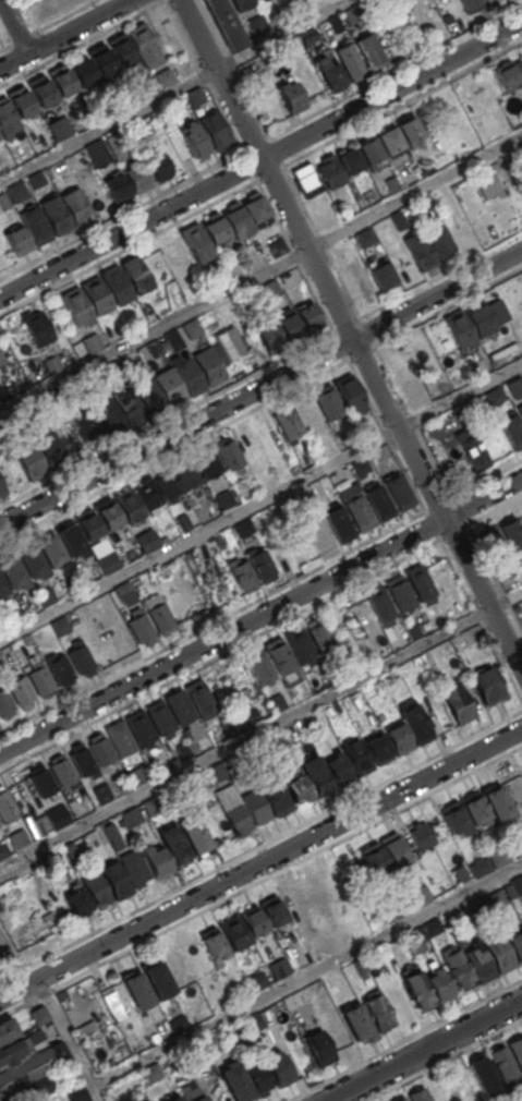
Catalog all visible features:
road: (123, 1)
building: (489, 1)
building: (468, 2)
building: (242, 3)
building: (56, 9)
building: (350, 13)
building: (333, 23)
building: (227, 24)
building: (257, 24)
road: (13, 26)
road: (64, 34)
building: (312, 40)
building: (144, 44)
building: (121, 49)
building: (368, 49)
building: (101, 59)
building: (348, 59)
building: (82, 70)
building: (507, 74)
building: (331, 76)
building: (165, 77)
building: (61, 80)
building: (142, 89)
building: (40, 92)
road: (173, 92)
building: (290, 94)
building: (194, 96)
building: (20, 101)
road: (327, 106)
building: (7, 117)
building: (135, 126)
building: (60, 128)
building: (216, 130)
building: (409, 130)
building: (0, 135)
building: (194, 138)
building: (389, 140)
building: (119, 144)
building: (97, 152)
building: (372, 153)
road: (260, 159)
building: (349, 160)
building: (157, 167)
building: (330, 172)
building: (37, 179)
building: (137, 179)
building: (305, 179)
building: (391, 183)
building: (117, 189)
building: (17, 192)
building: (3, 202)
building: (76, 205)
building: (256, 211)
building: (56, 215)
building: (399, 220)
building: (235, 222)
building: (36, 225)
building: (214, 229)
building: (460, 230)
building: (365, 238)
building: (440, 240)
building: (17, 241)
building: (196, 242)
building: (276, 246)
building: (420, 251)
road: (260, 273)
building: (136, 275)
building: (383, 276)
building: (117, 286)
building: (269, 289)
building: (97, 294)
building: (75, 306)
building: (309, 317)
building: (479, 318)
building: (290, 326)
building: (36, 327)
building: (192, 328)
building: (460, 328)
building: (269, 335)
road: (351, 336)
building: (174, 339)
building: (92, 342)
building: (228, 343)
building: (155, 348)
building: (52, 364)
building: (207, 367)
building: (110, 370)
building: (189, 375)
building: (169, 386)
building: (515, 386)
road: (260, 388)
building: (348, 392)
building: (2, 395)
building: (417, 395)
building: (494, 396)
building: (148, 397)
building: (328, 402)
building: (129, 408)
building: (520, 411)
building: (109, 418)
building: (288, 422)
building: (90, 427)
building: (512, 429)
building: (473, 451)
building: (229, 455)
building: (31, 461)
building: (207, 461)
building: (360, 467)
building: (187, 471)
building: (167, 481)
building: (1, 488)
building: (398, 491)
building: (148, 494)
building: (300, 497)
building: (224, 498)
road: (483, 498)
road: (260, 501)
building: (378, 501)
building: (129, 505)
building: (359, 512)
building: (108, 513)
building: (183, 521)
building: (338, 522)
building: (86, 524)
building: (244, 528)
building: (319, 533)
building: (511, 533)
building: (70, 540)
building: (147, 541)
building: (221, 541)
building: (493, 542)
building: (50, 550)
building: (31, 561)
building: (107, 561)
building: (262, 565)
building: (521, 566)
building: (11, 572)
building: (88, 574)
building: (244, 574)
building: (420, 583)
building: (2, 586)
building: (125, 593)
building: (399, 593)
building: (46, 596)
building: (379, 604)
building: (158, 613)
building: (359, 614)
building: (60, 625)
building: (141, 627)
building: (414, 630)
building: (319, 633)
road: (222, 636)
building: (300, 644)
building: (279, 655)
building: (80, 658)
building: (260, 666)
building: (60, 668)
building: (39, 679)
building: (487, 685)
building: (20, 690)
building: (201, 698)
building: (4, 701)
building: (277, 701)
building: (457, 702)
building: (180, 707)
building: (160, 717)
building: (415, 722)
building: (233, 725)
building: (141, 727)
road: (260, 730)
building: (197, 731)
building: (120, 737)
building: (399, 738)
building: (276, 741)
building: (100, 749)
building: (184, 749)
building: (378, 749)
building: (356, 755)
building: (81, 760)
building: (339, 769)
building: (62, 770)
building: (137, 774)
building: (316, 775)
building: (41, 781)
building: (299, 790)
building: (101, 793)
building: (276, 796)
building: (254, 802)
building: (5, 803)
building: (497, 804)
building: (150, 806)
building: (475, 808)
building: (235, 814)
building: (56, 815)
building: (132, 815)
building: (453, 816)
building: (420, 834)
building: (113, 835)
building: (195, 835)
building: (17, 837)
building: (174, 845)
building: (515, 846)
building: (3, 848)
building: (70, 849)
building: (394, 850)
building: (498, 855)
building: (376, 859)
building: (158, 862)
building: (51, 863)
road: (260, 863)
building: (135, 867)
building: (479, 867)
building: (460, 873)
building: (116, 879)
building: (513, 887)
building: (95, 890)
building: (320, 894)
building: (417, 895)
building: (495, 898)
building: (77, 902)
building: (400, 906)
building: (472, 907)
building: (272, 910)
building: (253, 921)
building: (433, 927)
building: (234, 932)
building: (414, 941)
building: (515, 943)
building: (215, 944)
building: (317, 949)
building: (498, 952)
road: (13, 960)
building: (478, 963)
building: (360, 967)
building: (279, 968)
building: (458, 969)
road: (307, 976)
building: (158, 980)
building: (258, 981)
building: (439, 987)
building: (417, 988)
building: (137, 990)
building: (377, 1011)
building: (39, 1014)
building: (356, 1021)
building: (179, 1024)
building: (7, 1029)
road: (68, 1040)
building: (211, 1042)
building: (319, 1048)
building: (517, 1050)
building: (11, 1051)
road: (425, 1051)
building: (503, 1063)
building: (278, 1069)
building: (150, 1073)
building: (32, 1075)
building: (483, 1075)
building: (258, 1078)
building: (236, 1082)
building: (76, 1093)
building: (192, 1093)
building: (418, 1096)
building: (139, 1097)
building: (173, 1098)
building: (401, 1099)

